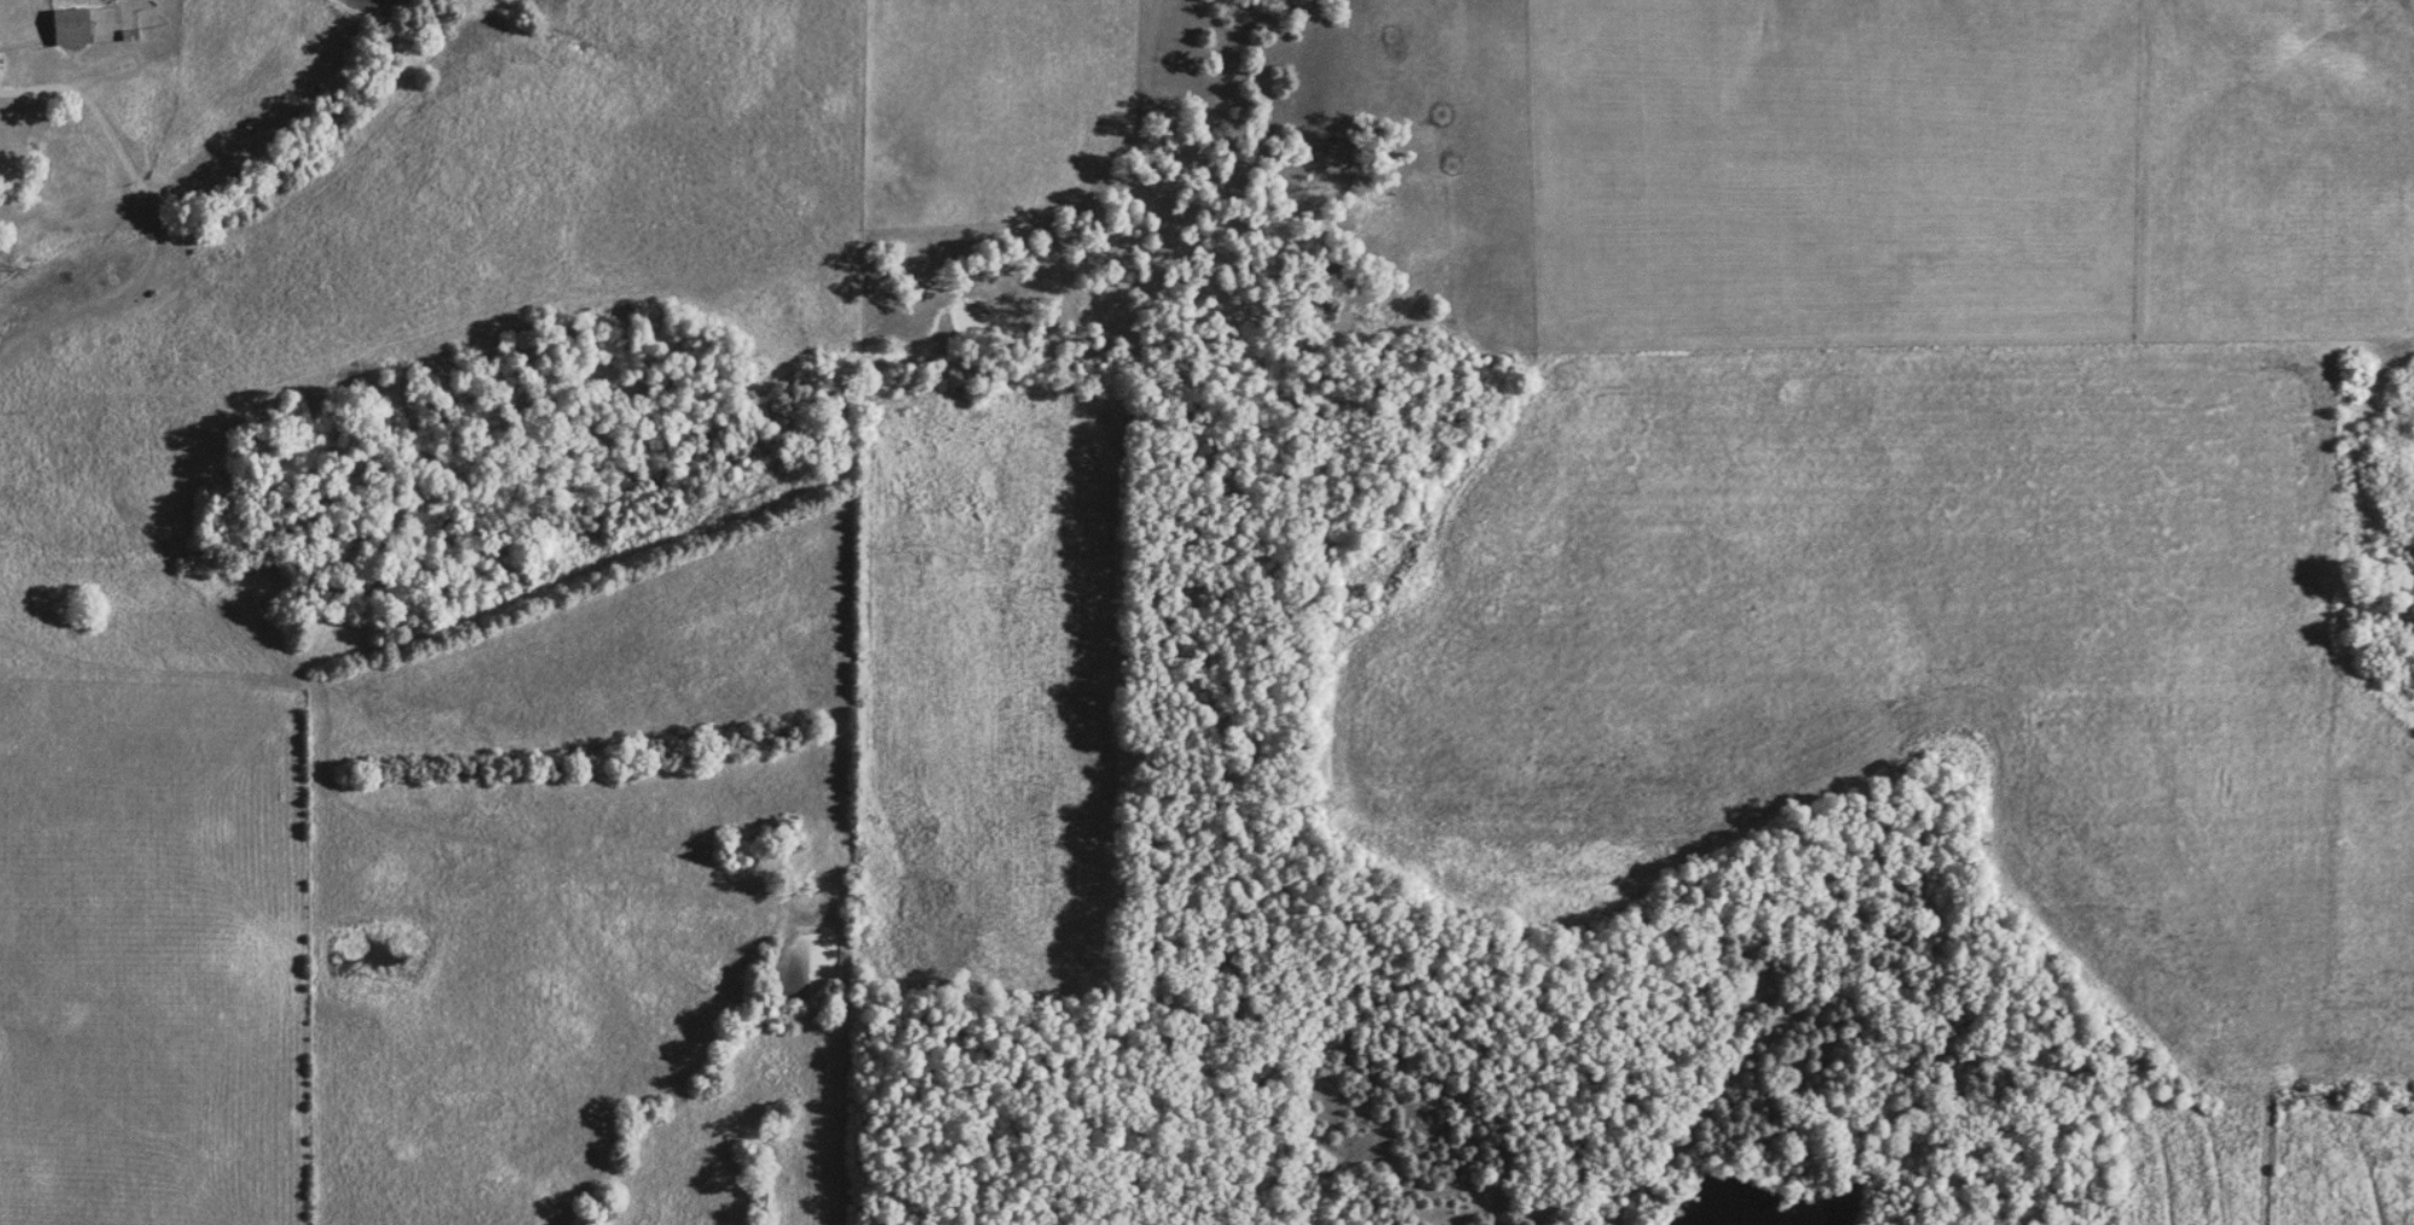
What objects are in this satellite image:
building: (72, 25)
road: (123, 148)

